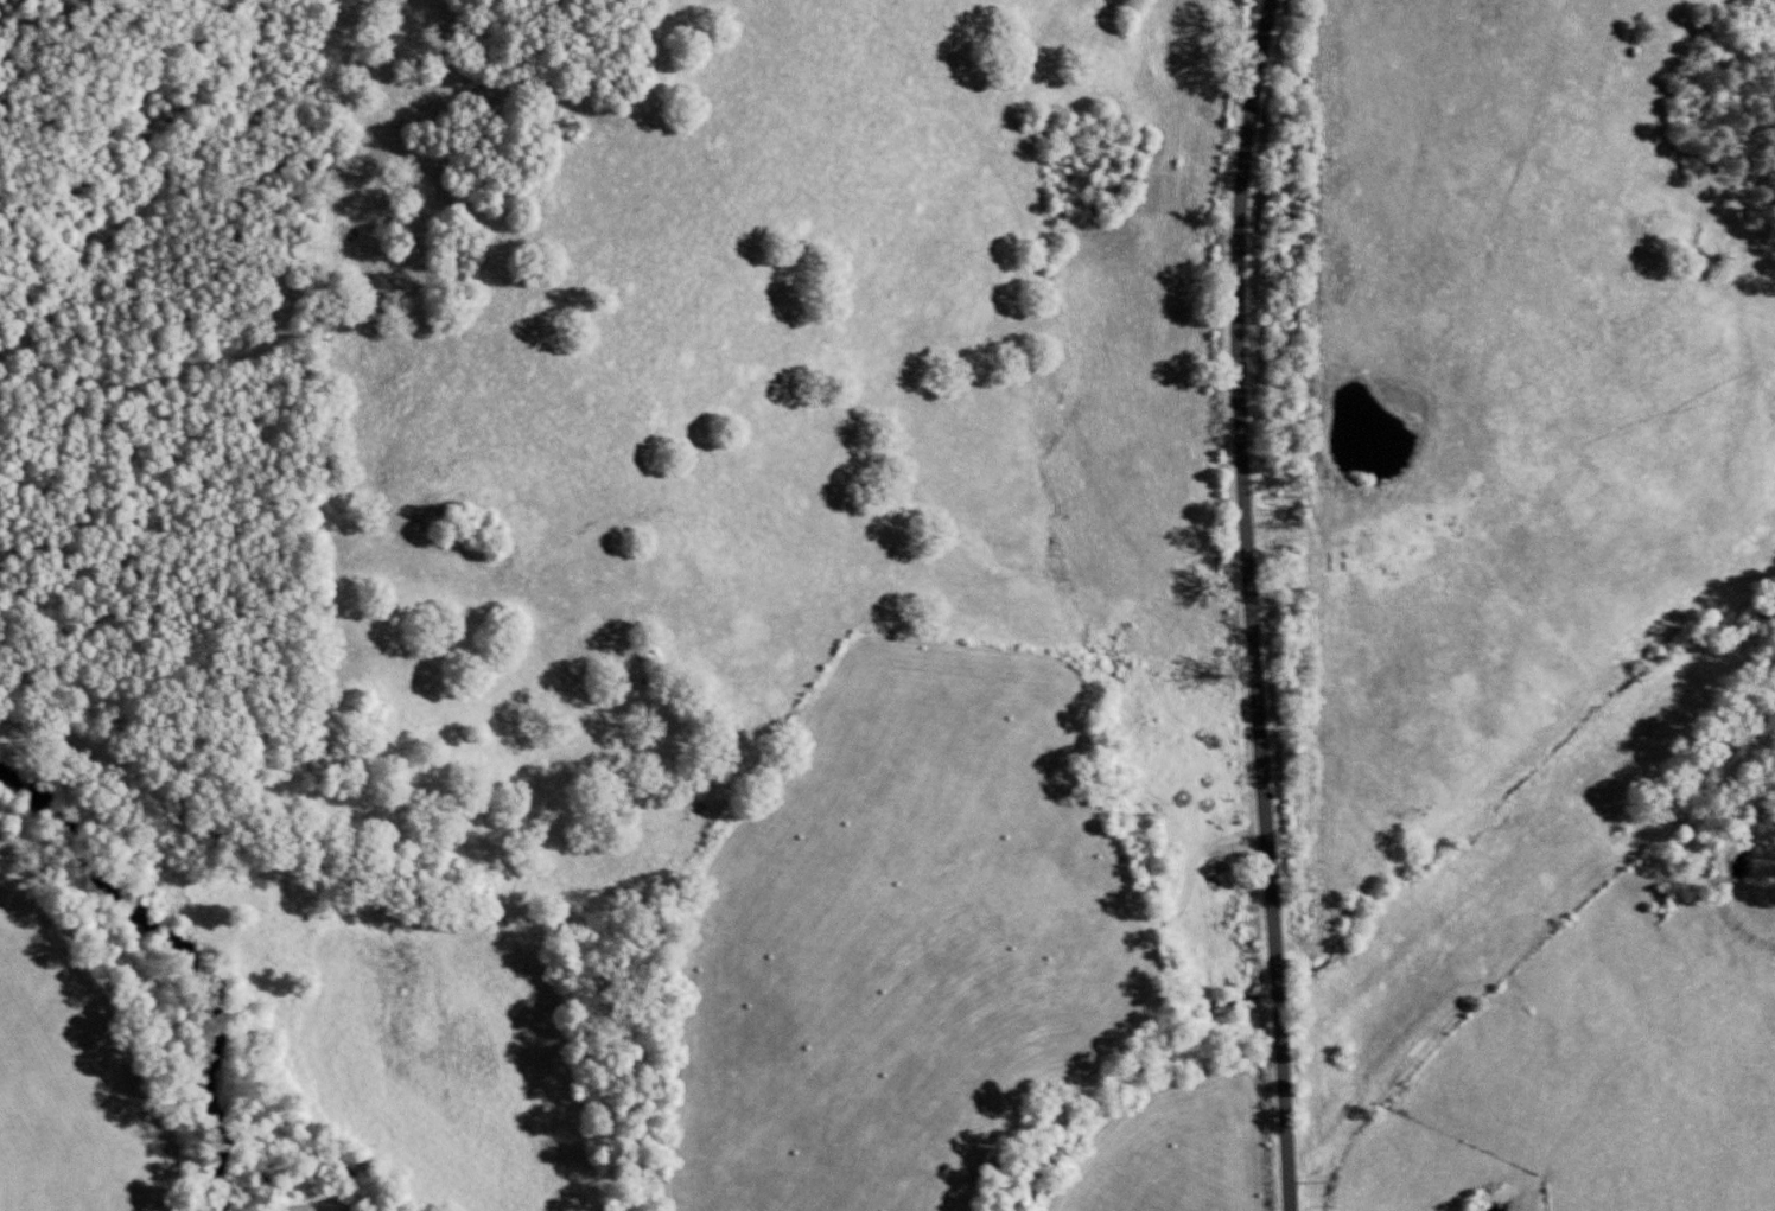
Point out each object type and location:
road: (1252, 604)

